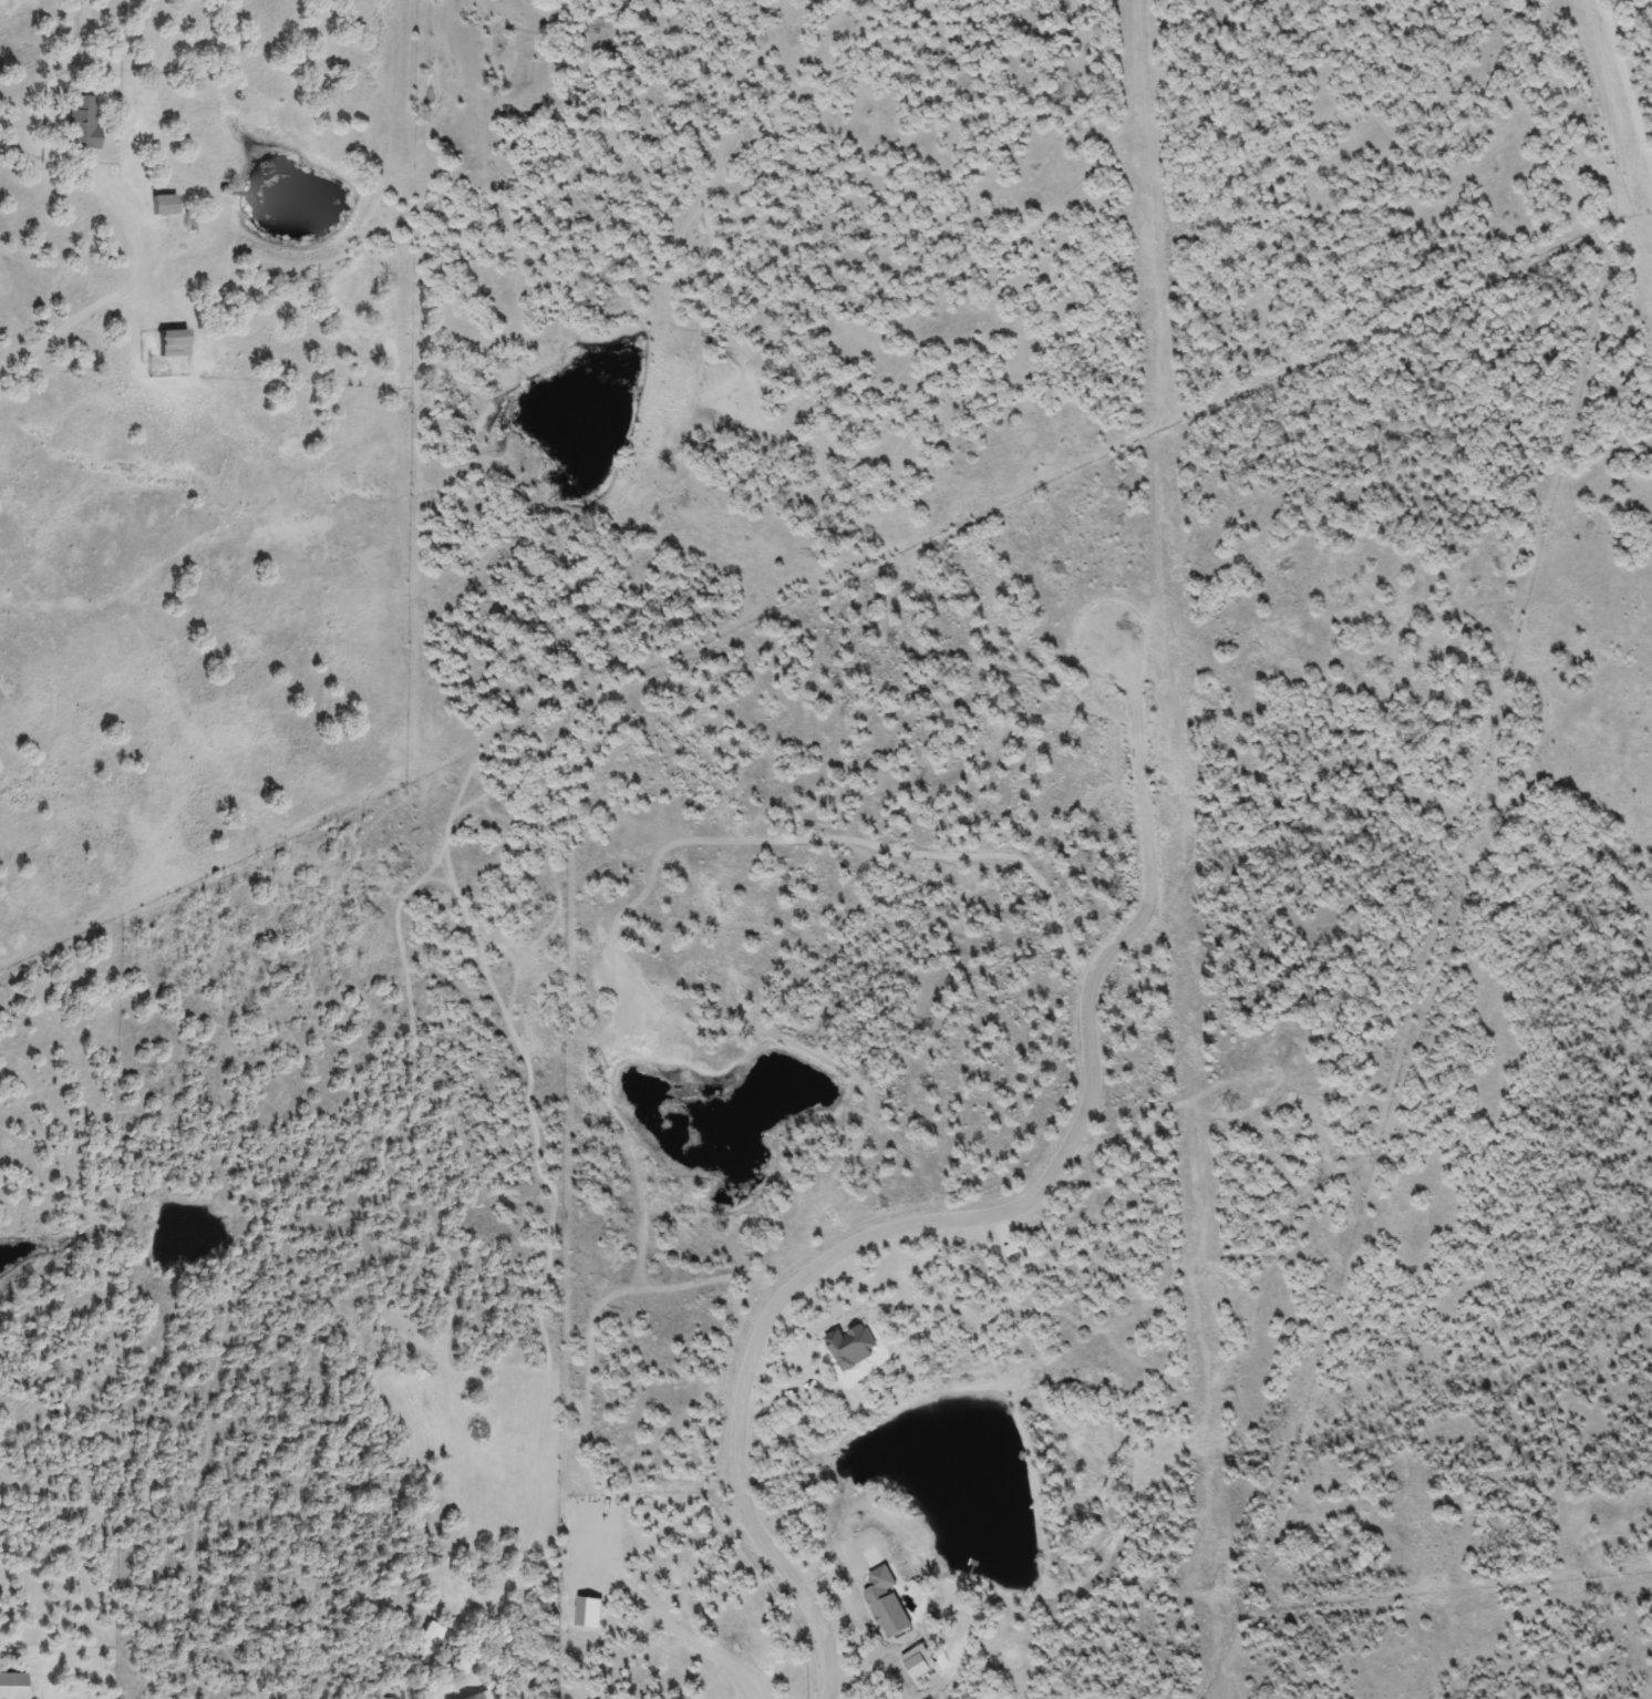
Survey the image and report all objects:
road: (81, 7)
building: (79, 122)
building: (161, 205)
building: (169, 343)
road: (940, 1214)
building: (10, 1686)
building: (473, 1697)

